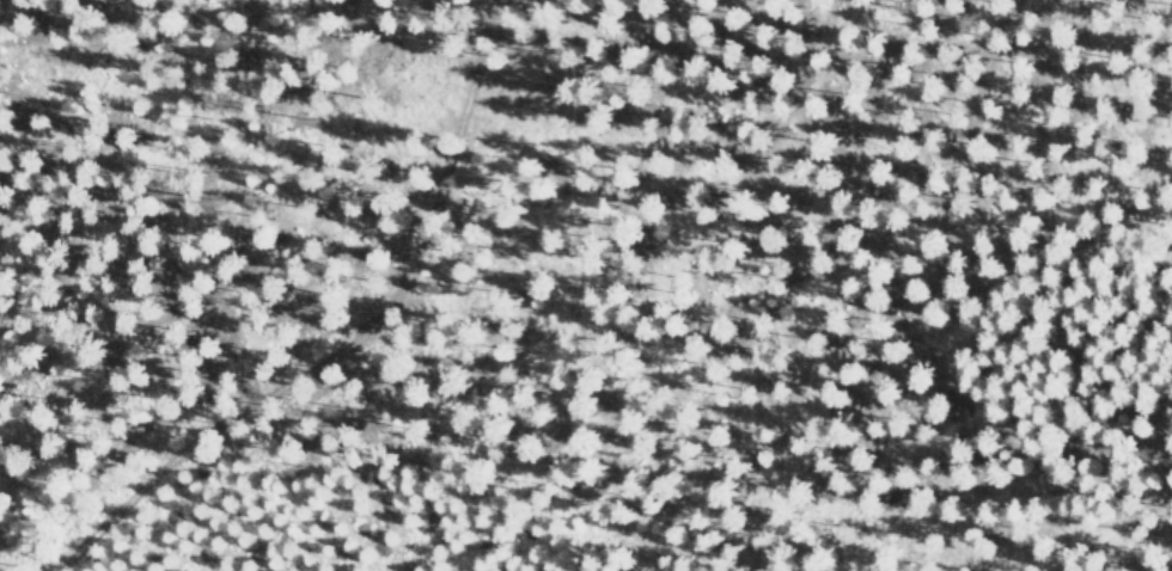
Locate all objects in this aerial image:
road: (354, 337)

